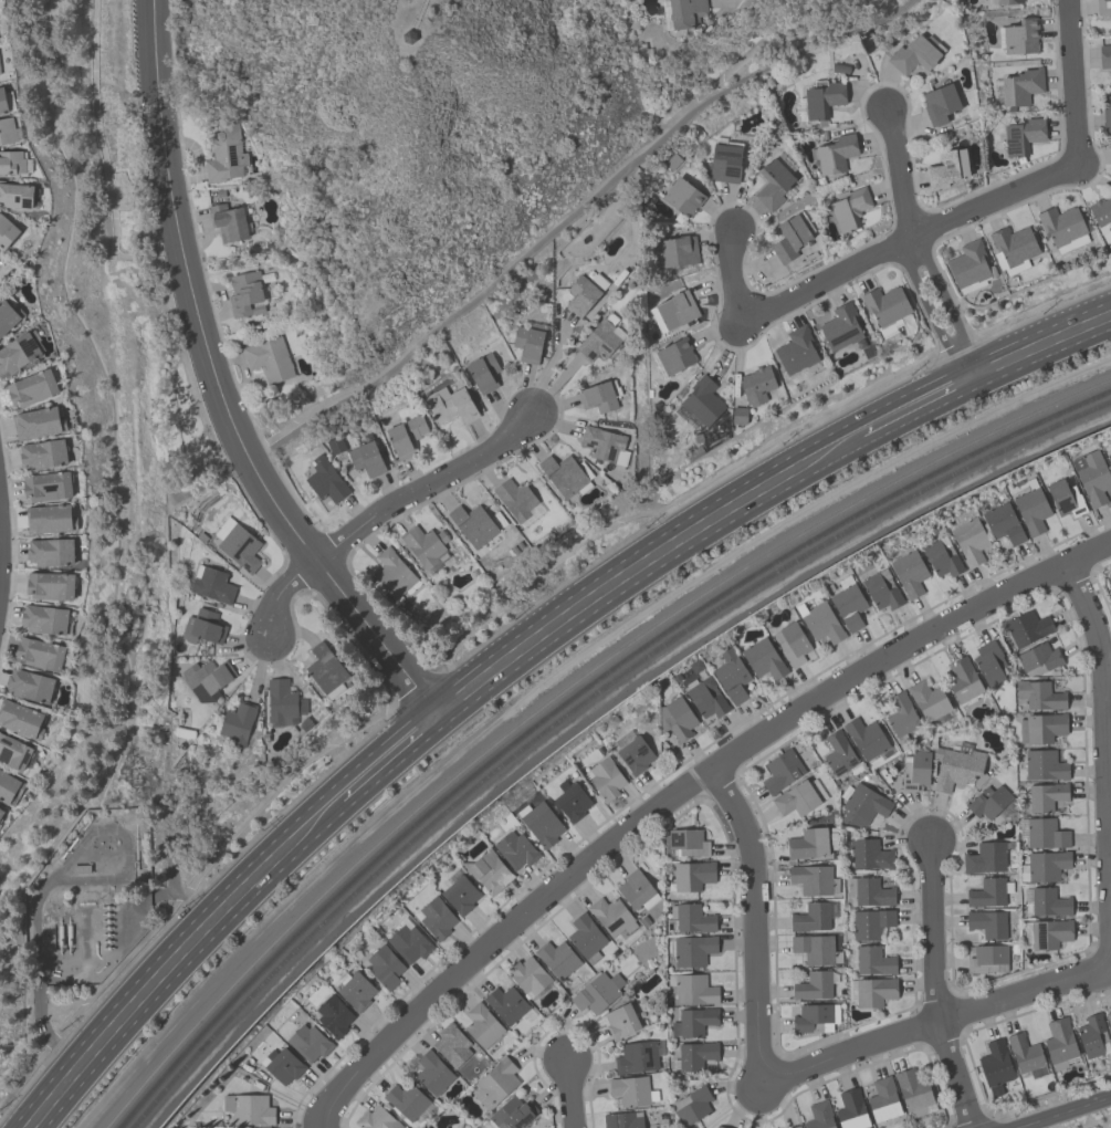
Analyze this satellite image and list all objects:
road: (738, 0)
building: (1008, 1)
building: (1103, 7)
building: (685, 12)
building: (1020, 36)
road: (751, 55)
building: (913, 55)
building: (1104, 55)
building: (1020, 85)
building: (822, 97)
building: (2, 100)
building: (939, 103)
building: (1105, 113)
building: (7, 129)
building: (1023, 135)
building: (835, 153)
building: (223, 154)
building: (11, 159)
road: (103, 161)
building: (724, 161)
road: (1068, 166)
building: (946, 168)
road: (899, 170)
building: (772, 184)
building: (17, 194)
building: (682, 196)
building: (848, 207)
road: (569, 212)
building: (1101, 213)
building: (228, 221)
building: (1063, 227)
building: (7, 230)
building: (789, 238)
road: (912, 244)
building: (1013, 248)
building: (678, 250)
building: (968, 267)
building: (244, 292)
building: (584, 292)
road: (780, 301)
building: (885, 307)
building: (673, 310)
road: (954, 314)
building: (9, 315)
road: (935, 322)
building: (840, 326)
building: (600, 338)
building: (527, 343)
building: (796, 349)
building: (18, 352)
road: (1048, 354)
building: (675, 355)
building: (269, 358)
road: (551, 365)
building: (483, 372)
building: (756, 384)
building: (32, 388)
road: (220, 393)
building: (597, 396)
building: (702, 400)
building: (450, 404)
building: (38, 422)
road: (905, 422)
building: (406, 435)
building: (604, 443)
building: (43, 453)
building: (366, 457)
building: (1109, 458)
building: (563, 473)
building: (1092, 476)
building: (325, 479)
building: (48, 484)
building: (1065, 495)
building: (515, 498)
building: (1031, 510)
road: (381, 511)
building: (50, 518)
building: (1003, 522)
building: (472, 524)
building: (969, 540)
building: (423, 543)
building: (240, 546)
building: (51, 551)
building: (942, 557)
building: (392, 572)
building: (909, 572)
building: (211, 583)
building: (51, 585)
road: (629, 585)
building: (882, 589)
building: (848, 603)
building: (44, 618)
building: (820, 620)
building: (201, 626)
building: (1026, 627)
building: (790, 641)
road: (506, 643)
building: (40, 652)
building: (763, 658)
building: (1038, 658)
building: (989, 661)
building: (325, 670)
building: (731, 676)
building: (206, 679)
building: (963, 680)
building: (30, 685)
railway: (564, 693)
building: (1039, 694)
building: (705, 697)
railway: (569, 698)
building: (927, 699)
building: (283, 703)
railway: (577, 703)
building: (901, 713)
building: (677, 718)
building: (22, 719)
building: (237, 722)
building: (1040, 727)
road: (1105, 731)
building: (864, 737)
building: (14, 752)
building: (838, 752)
building: (635, 754)
building: (1044, 764)
building: (957, 766)
building: (782, 770)
building: (914, 770)
road: (382, 775)
building: (605, 777)
building: (9, 786)
road: (681, 791)
building: (799, 796)
building: (1045, 796)
building: (570, 800)
building: (987, 801)
building: (862, 805)
building: (1, 811)
building: (0, 818)
building: (539, 823)
building: (1044, 832)
building: (686, 842)
building: (808, 843)
building: (515, 849)
building: (869, 854)
building: (985, 857)
building: (1045, 865)
building: (489, 871)
building: (692, 875)
building: (813, 879)
building: (637, 890)
building: (869, 890)
building: (987, 891)
building: (460, 895)
building: (1046, 900)
building: (611, 915)
building: (691, 917)
building: (810, 917)
building: (434, 918)
road: (755, 922)
building: (870, 922)
building: (987, 922)
building: (1049, 932)
building: (586, 937)
building: (408, 941)
building: (692, 949)
building: (815, 949)
building: (986, 958)
building: (559, 960)
building: (872, 960)
building: (385, 965)
road: (177, 973)
building: (527, 975)
building: (813, 985)
road: (935, 985)
building: (692, 989)
building: (356, 991)
building: (874, 991)
building: (597, 992)
building: (509, 1005)
building: (333, 1015)
building: (815, 1017)
building: (1108, 1017)
building: (620, 1021)
building: (693, 1021)
road: (939, 1021)
building: (482, 1025)
building: (1093, 1035)
building: (1059, 1040)
building: (308, 1042)
building: (451, 1044)
building: (1024, 1053)
building: (695, 1055)
building: (636, 1056)
building: (283, 1065)
building: (995, 1065)
building: (432, 1073)
building: (495, 1083)
building: (632, 1090)
road: (569, 1092)
building: (913, 1093)
building: (406, 1099)
building: (883, 1099)
building: (692, 1106)
building: (249, 1108)
building: (851, 1109)
building: (512, 1113)
road: (1067, 1113)
building: (819, 1115)
building: (376, 1118)
building: (622, 1119)
building: (421, 1127)
building: (708, 1127)
building: (719, 1127)
building: (795, 1127)

